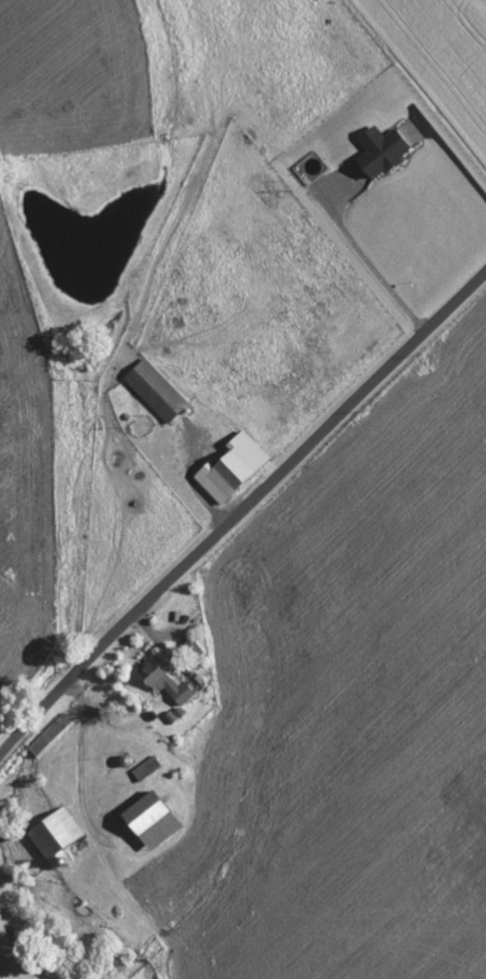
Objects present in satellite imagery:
building: (381, 150)
building: (156, 390)
building: (233, 468)
road: (240, 508)
building: (168, 682)
building: (154, 820)
building: (57, 835)

